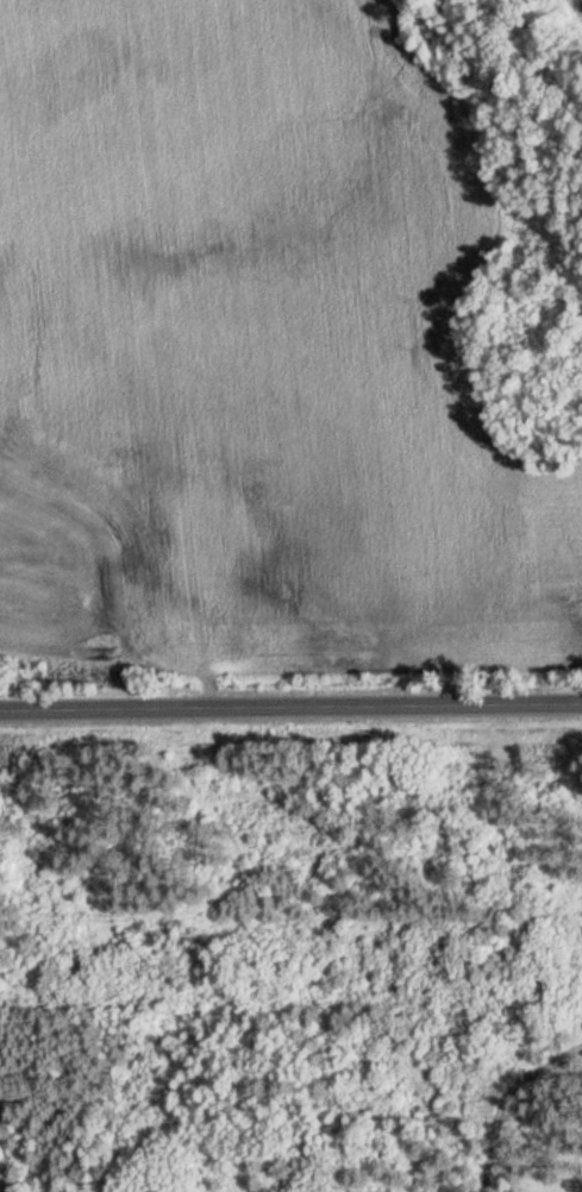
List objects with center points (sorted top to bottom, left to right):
road: (290, 708)

